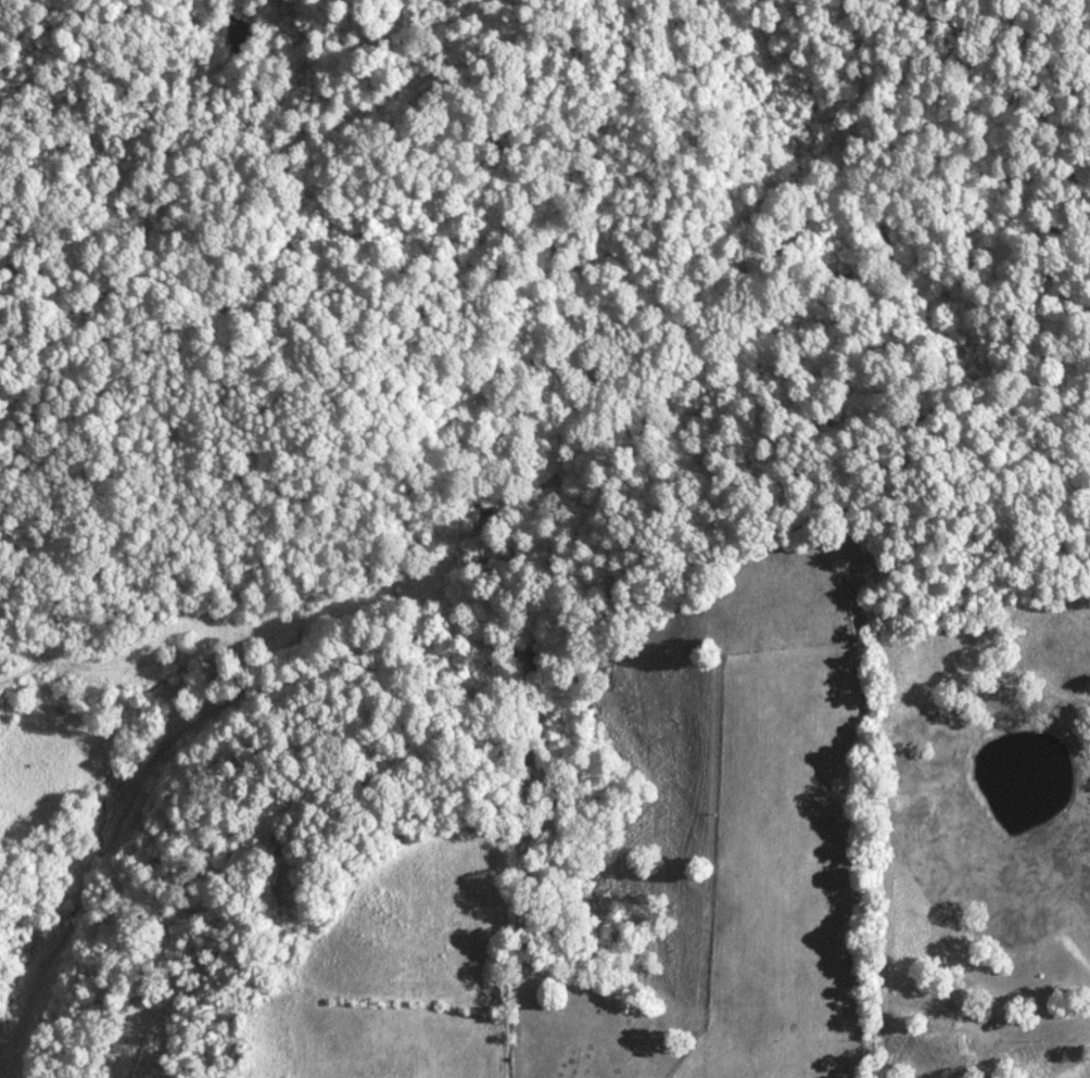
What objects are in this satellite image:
building: (867, 541)

